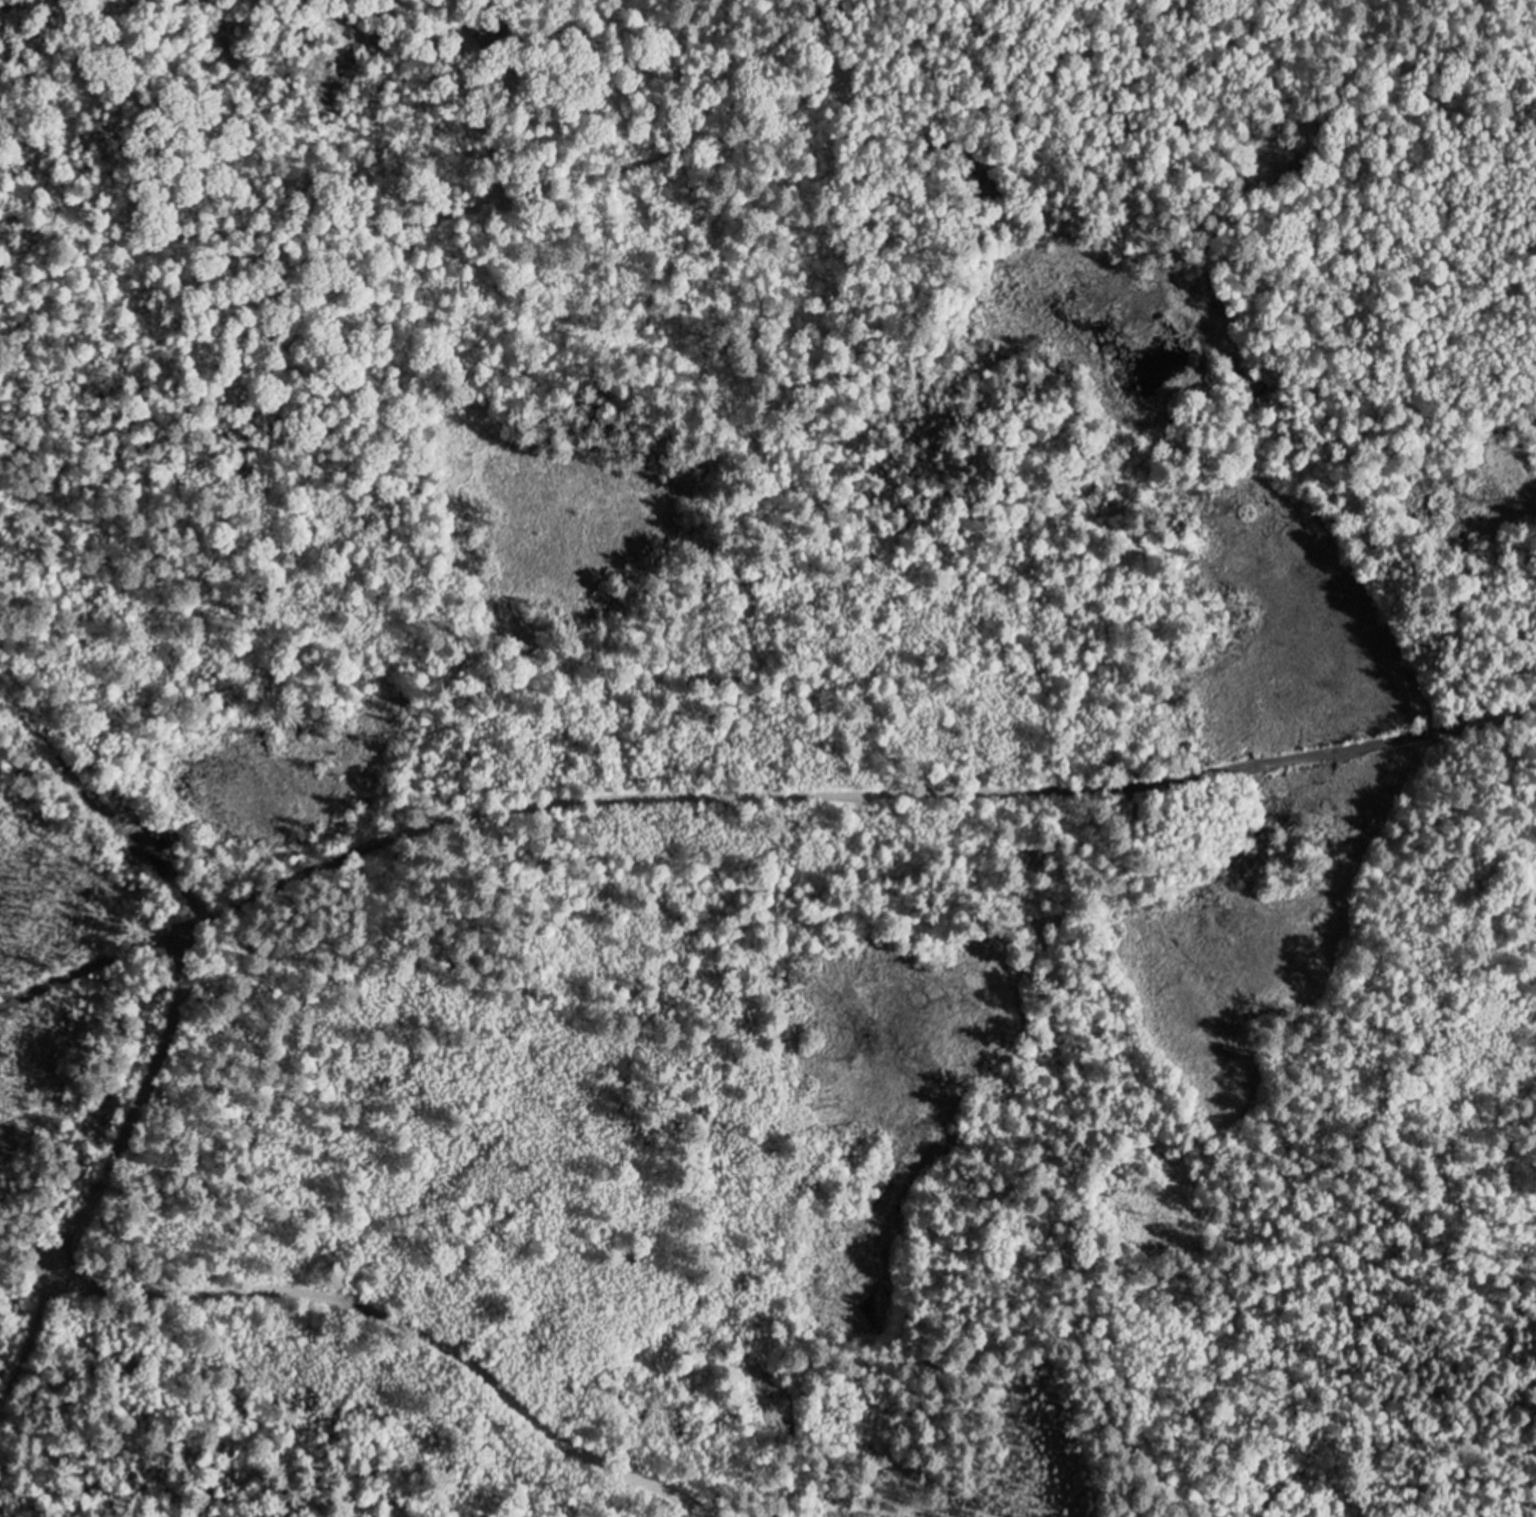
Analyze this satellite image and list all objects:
road: (417, 221)
road: (751, 795)
road: (113, 1172)
road: (409, 1328)

